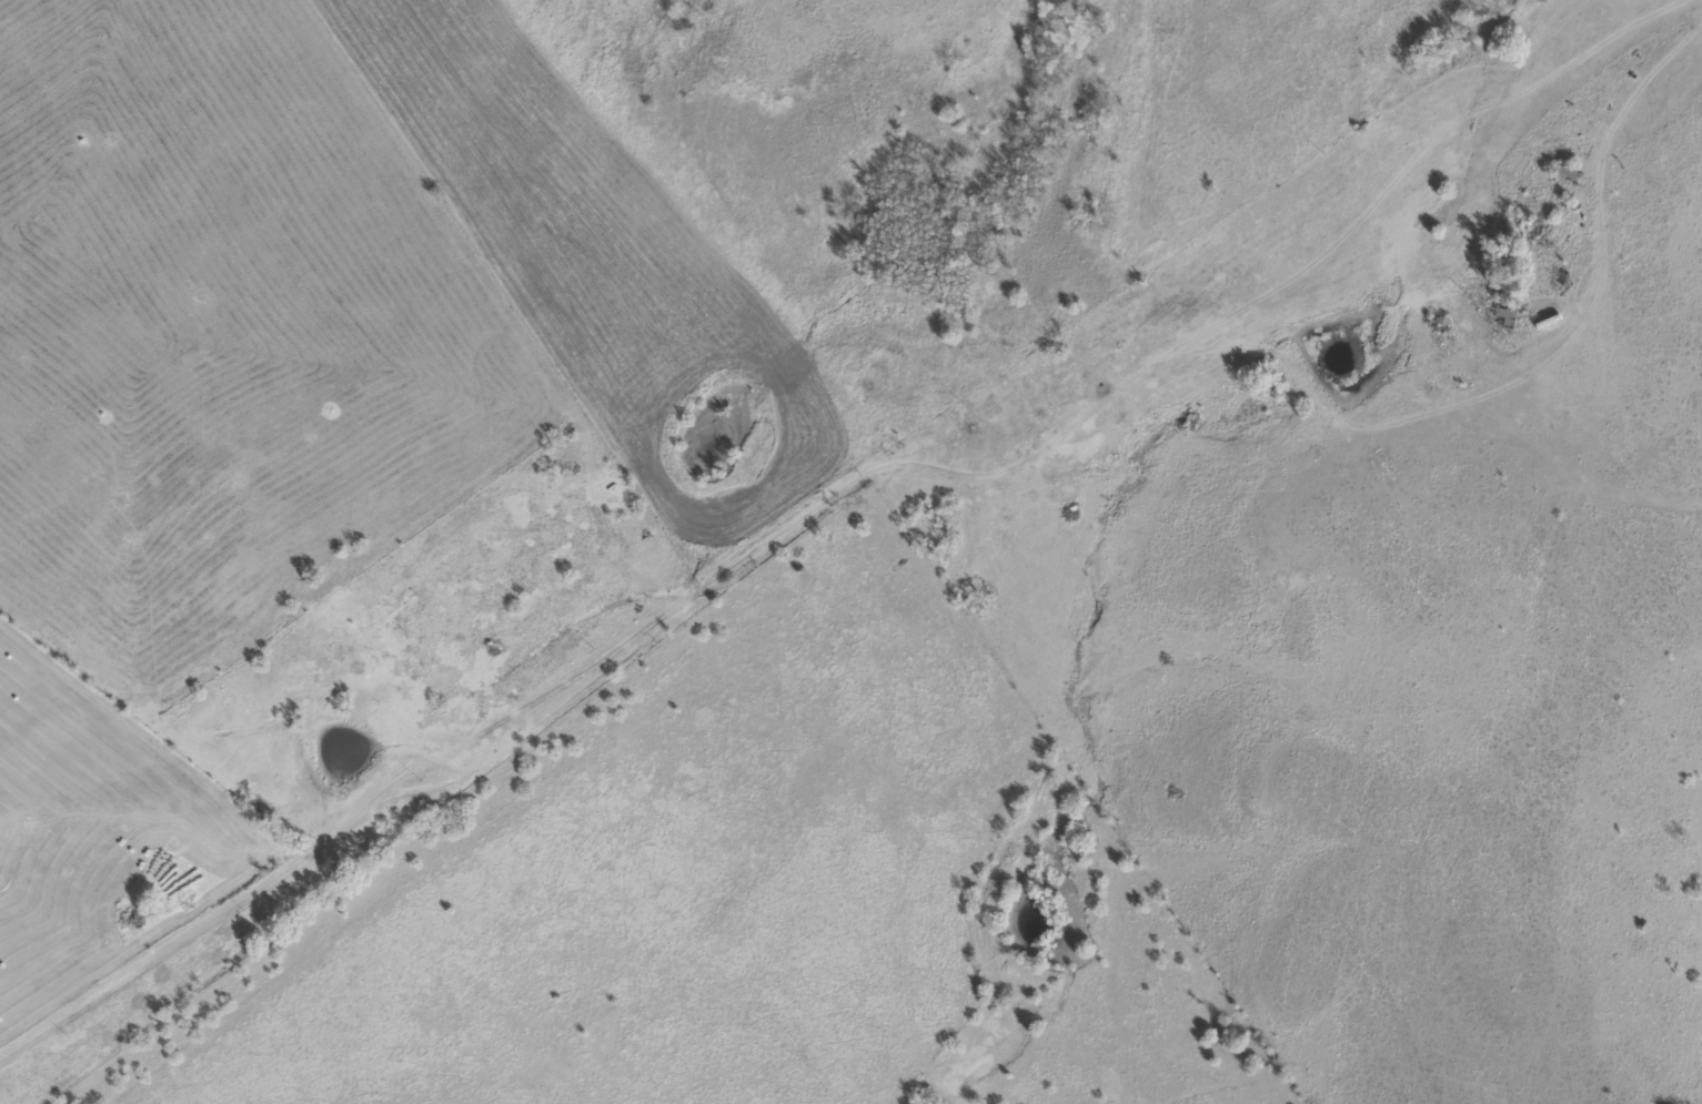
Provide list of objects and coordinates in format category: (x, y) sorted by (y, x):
building: (1561, 174)
road: (1597, 178)
building: (1524, 200)
building: (1504, 315)

